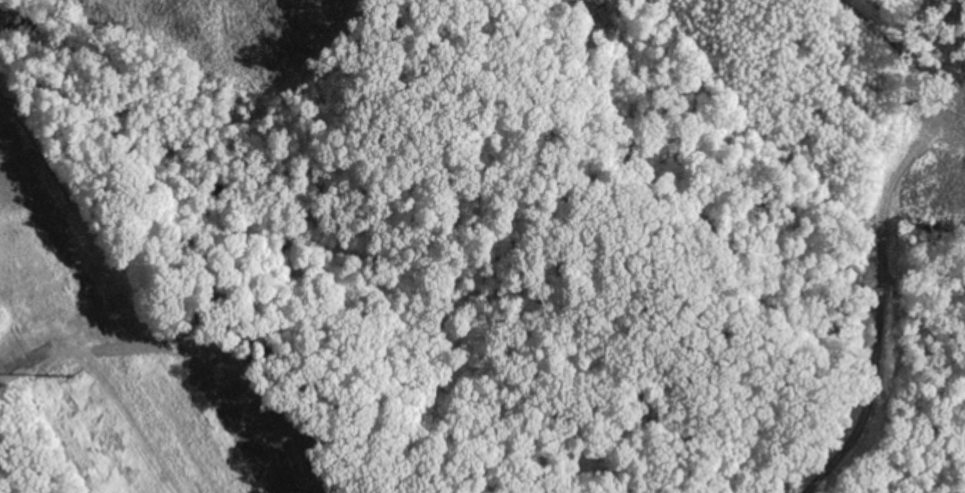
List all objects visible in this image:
power tower: (67, 372)
road: (112, 383)

